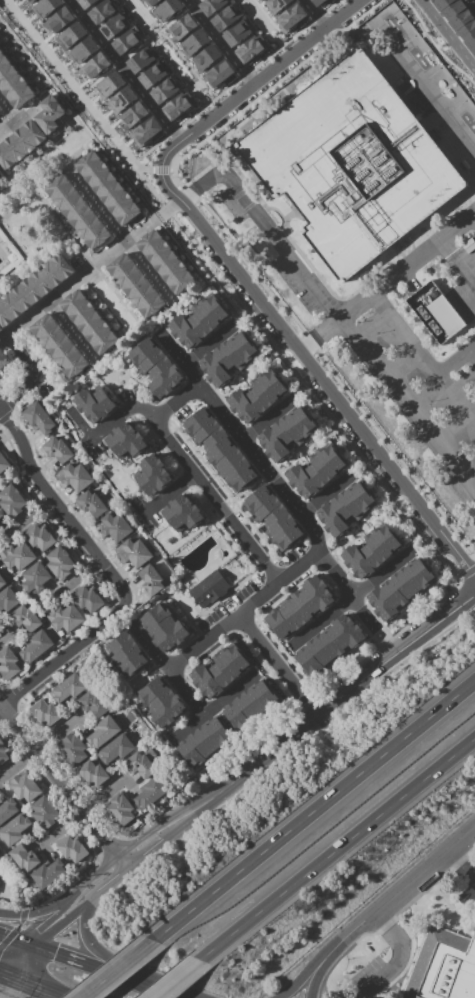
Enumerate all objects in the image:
building: (30, 1)
building: (149, 2)
building: (318, 2)
building: (87, 4)
building: (276, 4)
building: (210, 5)
building: (45, 6)
building: (167, 9)
building: (101, 11)
road: (314, 13)
building: (225, 17)
building: (290, 17)
building: (59, 20)
building: (460, 20)
building: (114, 25)
building: (182, 26)
building: (237, 33)
building: (71, 34)
road: (446, 36)
building: (126, 41)
building: (194, 42)
road: (218, 42)
building: (250, 48)
building: (83, 50)
building: (206, 57)
building: (141, 60)
building: (94, 66)
road: (122, 71)
building: (219, 74)
road: (254, 81)
building: (14, 82)
building: (110, 84)
road: (426, 89)
building: (164, 90)
road: (78, 92)
building: (122, 99)
building: (178, 106)
road: (6, 112)
building: (134, 114)
building: (50, 115)
road: (76, 117)
road: (6, 124)
building: (145, 131)
building: (21, 145)
building: (351, 163)
building: (0, 175)
building: (108, 188)
park: (39, 198)
road: (99, 206)
building: (78, 212)
road: (474, 215)
road: (57, 220)
road: (265, 225)
road: (51, 250)
road: (29, 259)
building: (165, 260)
road: (458, 261)
road: (406, 266)
road: (149, 272)
road: (88, 281)
building: (134, 283)
building: (34, 289)
road: (115, 294)
road: (54, 300)
road: (100, 302)
building: (435, 312)
road: (164, 321)
building: (90, 322)
building: (200, 322)
road: (239, 324)
building: (0, 329)
road: (5, 330)
road: (73, 332)
road: (253, 335)
building: (59, 345)
road: (473, 352)
road: (198, 353)
road: (423, 357)
building: (3, 358)
building: (226, 359)
road: (456, 360)
road: (125, 368)
building: (157, 368)
road: (315, 374)
road: (84, 386)
road: (123, 387)
building: (258, 397)
road: (296, 400)
building: (95, 405)
road: (407, 406)
road: (120, 418)
building: (39, 419)
road: (268, 420)
building: (286, 433)
building: (126, 442)
road: (248, 444)
building: (56, 450)
building: (220, 450)
road: (298, 452)
building: (3, 464)
building: (316, 470)
road: (356, 474)
building: (154, 475)
building: (75, 477)
road: (169, 494)
road: (327, 494)
building: (13, 501)
road: (217, 503)
building: (92, 505)
building: (344, 508)
road: (60, 509)
building: (182, 514)
building: (1, 515)
building: (273, 518)
building: (116, 527)
road: (357, 536)
building: (40, 537)
building: (372, 551)
building: (136, 553)
building: (17, 556)
building: (61, 563)
road: (438, 575)
building: (36, 579)
building: (151, 581)
building: (2, 582)
building: (208, 588)
building: (402, 589)
road: (347, 591)
road: (351, 598)
building: (88, 599)
building: (8, 600)
road: (156, 602)
building: (300, 609)
road: (244, 612)
road: (187, 617)
building: (26, 618)
building: (65, 618)
building: (163, 626)
road: (5, 636)
building: (329, 645)
building: (37, 646)
building: (127, 654)
road: (67, 655)
building: (8, 664)
road: (278, 664)
building: (221, 670)
road: (172, 674)
road: (147, 679)
building: (68, 689)
road: (130, 692)
building: (159, 702)
building: (94, 703)
building: (251, 704)
road: (216, 708)
road: (1, 710)
road: (319, 711)
building: (45, 712)
building: (103, 732)
building: (205, 741)
road: (172, 743)
road: (39, 749)
building: (74, 749)
building: (116, 749)
building: (3, 753)
building: (140, 765)
building: (94, 773)
road: (353, 777)
road: (61, 783)
building: (24, 788)
building: (150, 793)
building: (120, 810)
building: (7, 811)
road: (82, 811)
building: (44, 813)
road: (370, 825)
building: (14, 830)
road: (149, 841)
building: (71, 849)
building: (24, 857)
road: (128, 857)
road: (464, 863)
building: (48, 873)
road: (111, 878)
road: (406, 882)
road: (195, 906)
road: (56, 910)
road: (33, 914)
traffic signals: (35, 928)
road: (52, 931)
road: (233, 935)
road: (20, 941)
road: (90, 947)
traffic signals: (55, 954)
road: (398, 957)
road: (89, 966)
road: (119, 967)
building: (443, 967)
road: (323, 968)
road: (308, 970)
road: (2, 973)
road: (15, 979)
road: (179, 979)
road: (44, 991)
road: (154, 991)

